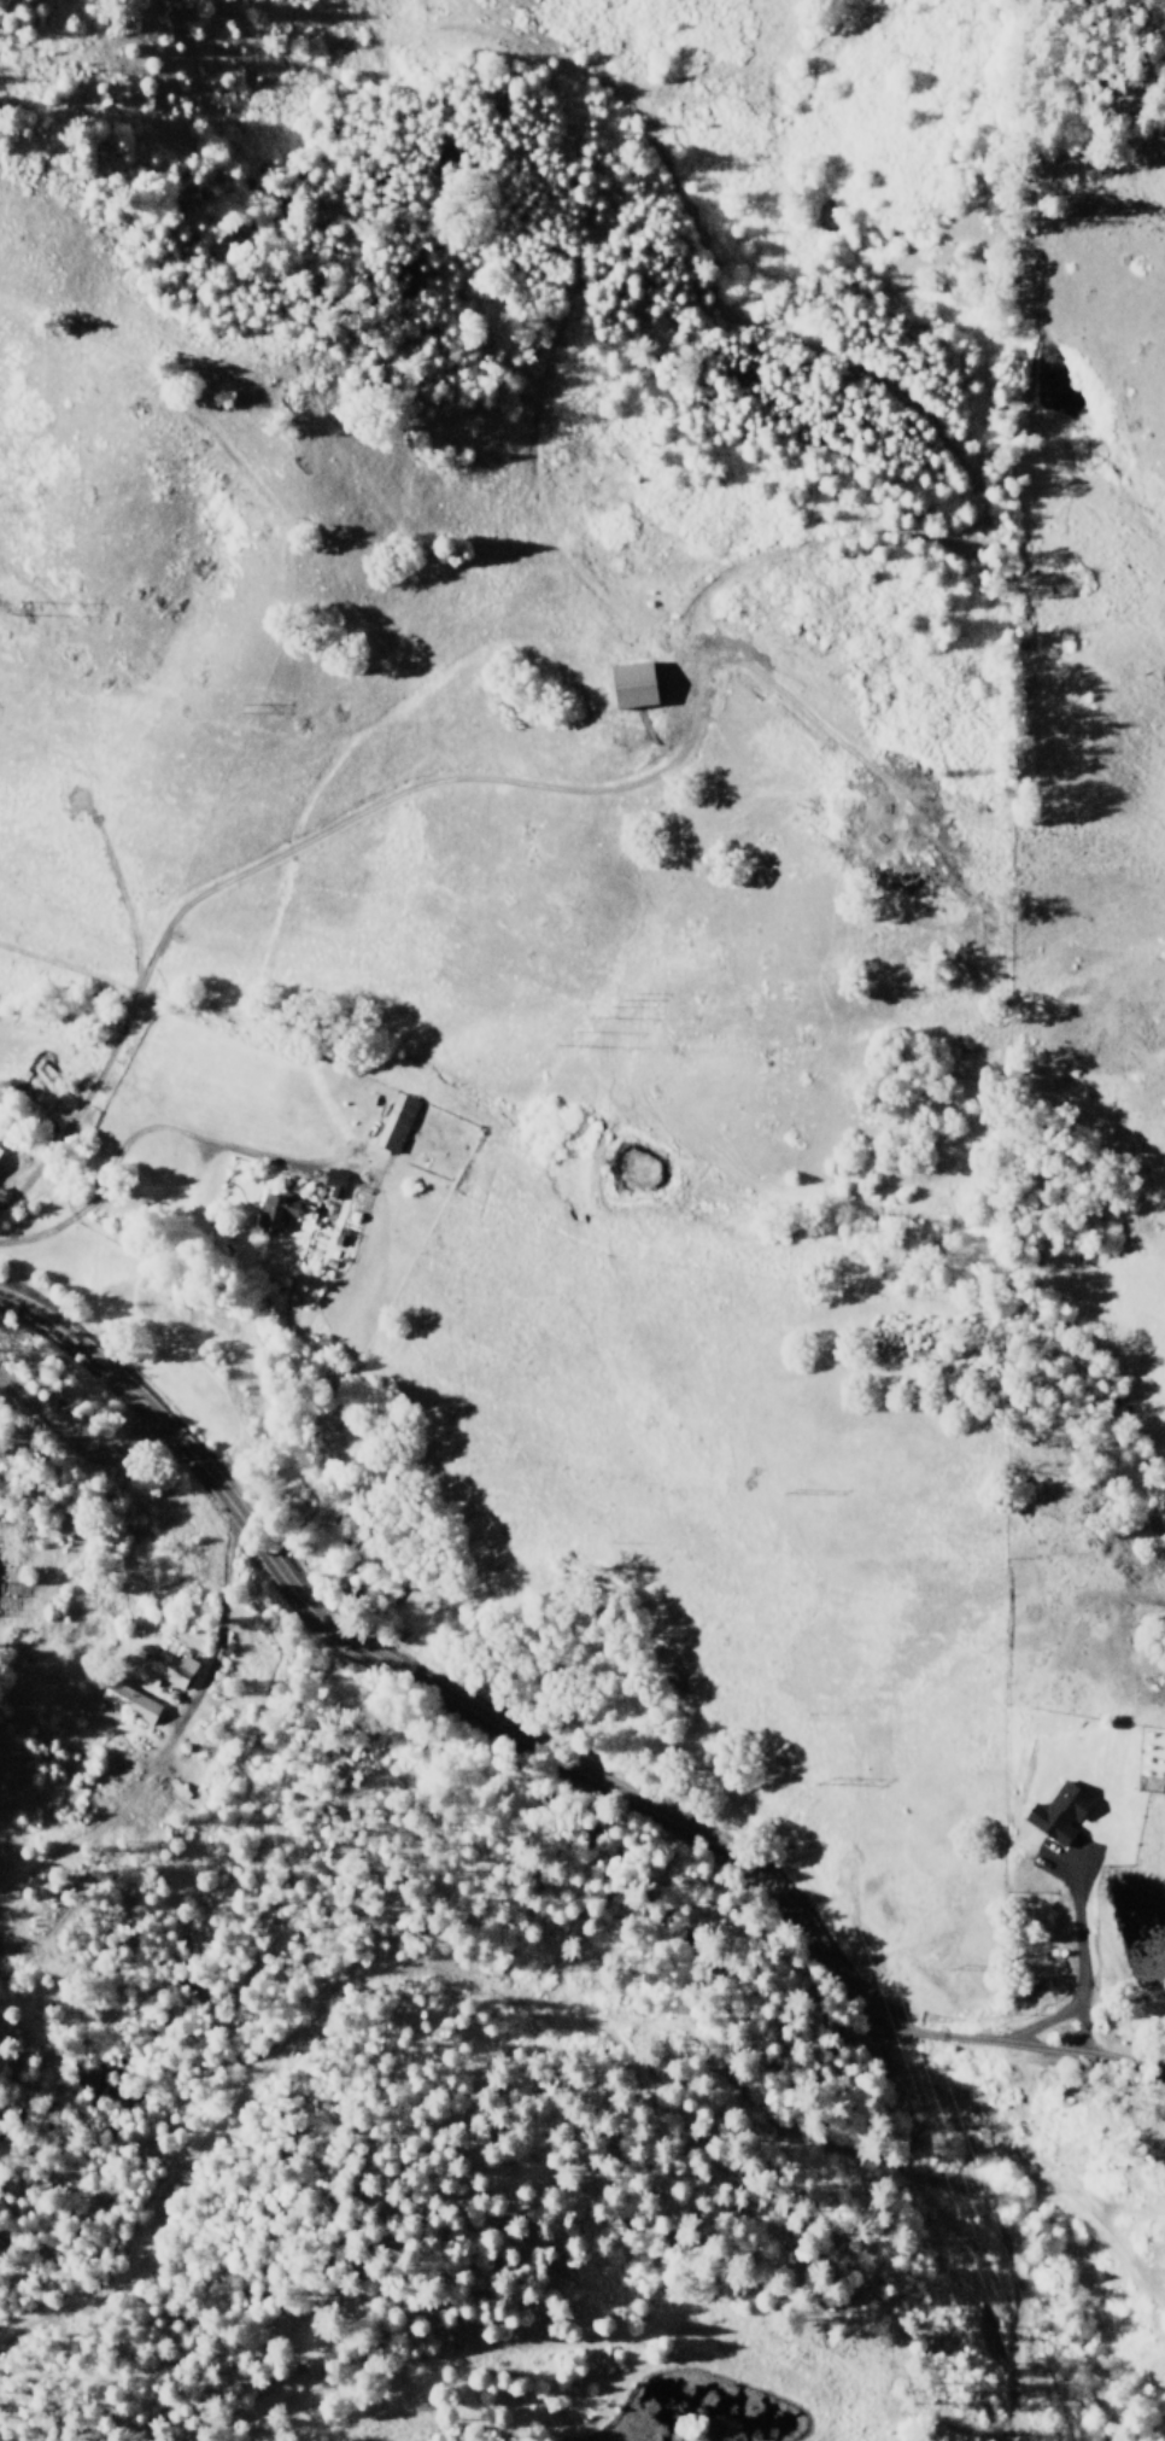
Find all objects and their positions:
power tower: (2, 607)
building: (633, 684)
power tower: (569, 1034)
building: (397, 1122)
building: (0, 1151)
building: (335, 1182)
building: (277, 1210)
road: (69, 1436)
building: (166, 1671)
road: (418, 1689)
building: (130, 1701)
power tower: (821, 1780)
building: (1061, 1811)
road: (1023, 2045)

